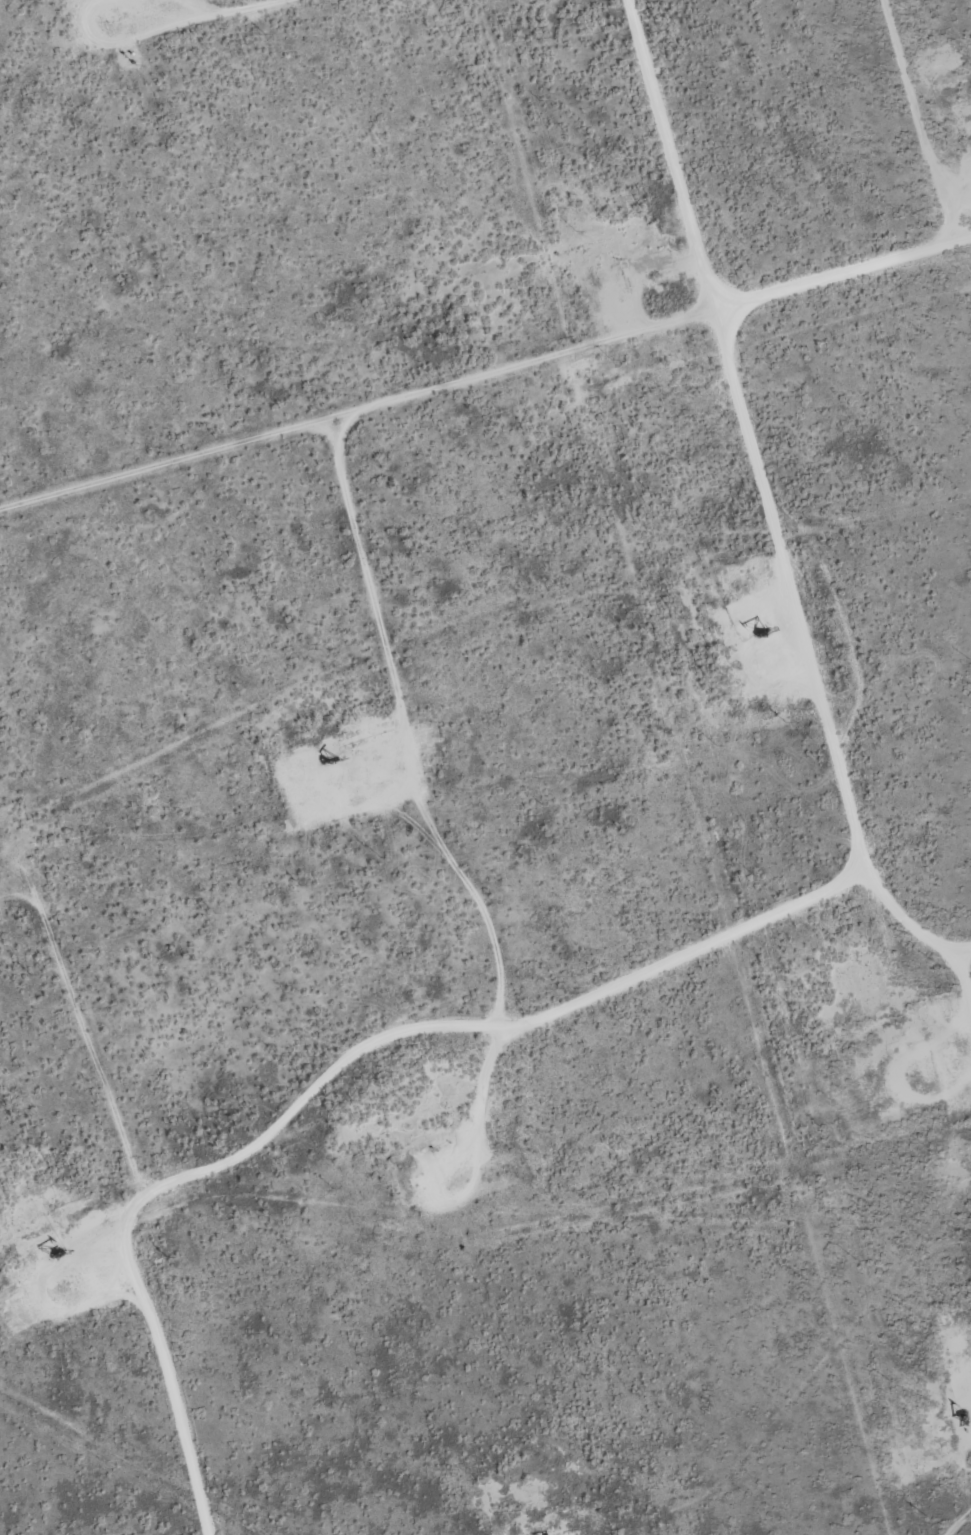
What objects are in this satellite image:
road: (485, 376)
road: (792, 518)
road: (956, 1521)

